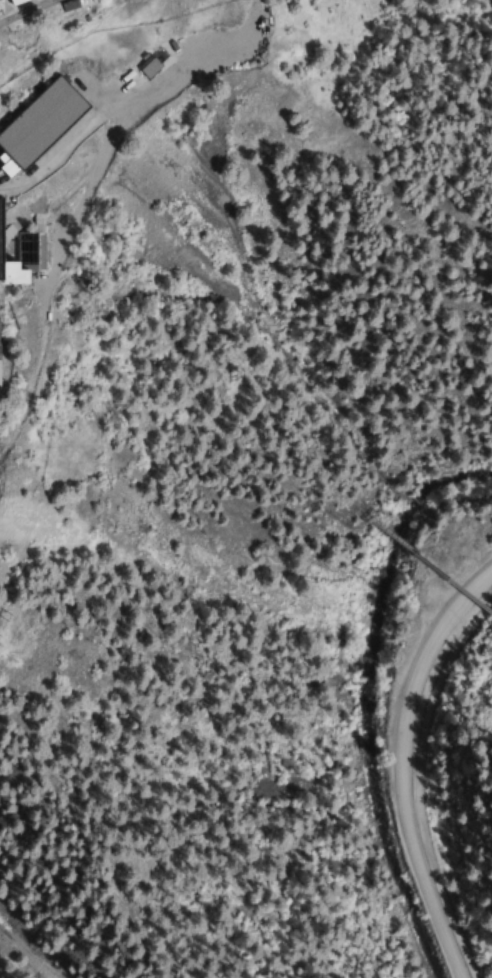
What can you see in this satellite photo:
building: (9, 2)
road: (18, 9)
building: (140, 68)
building: (25, 98)
building: (36, 123)
road: (47, 124)
building: (4, 259)
road: (409, 775)
road: (417, 784)

